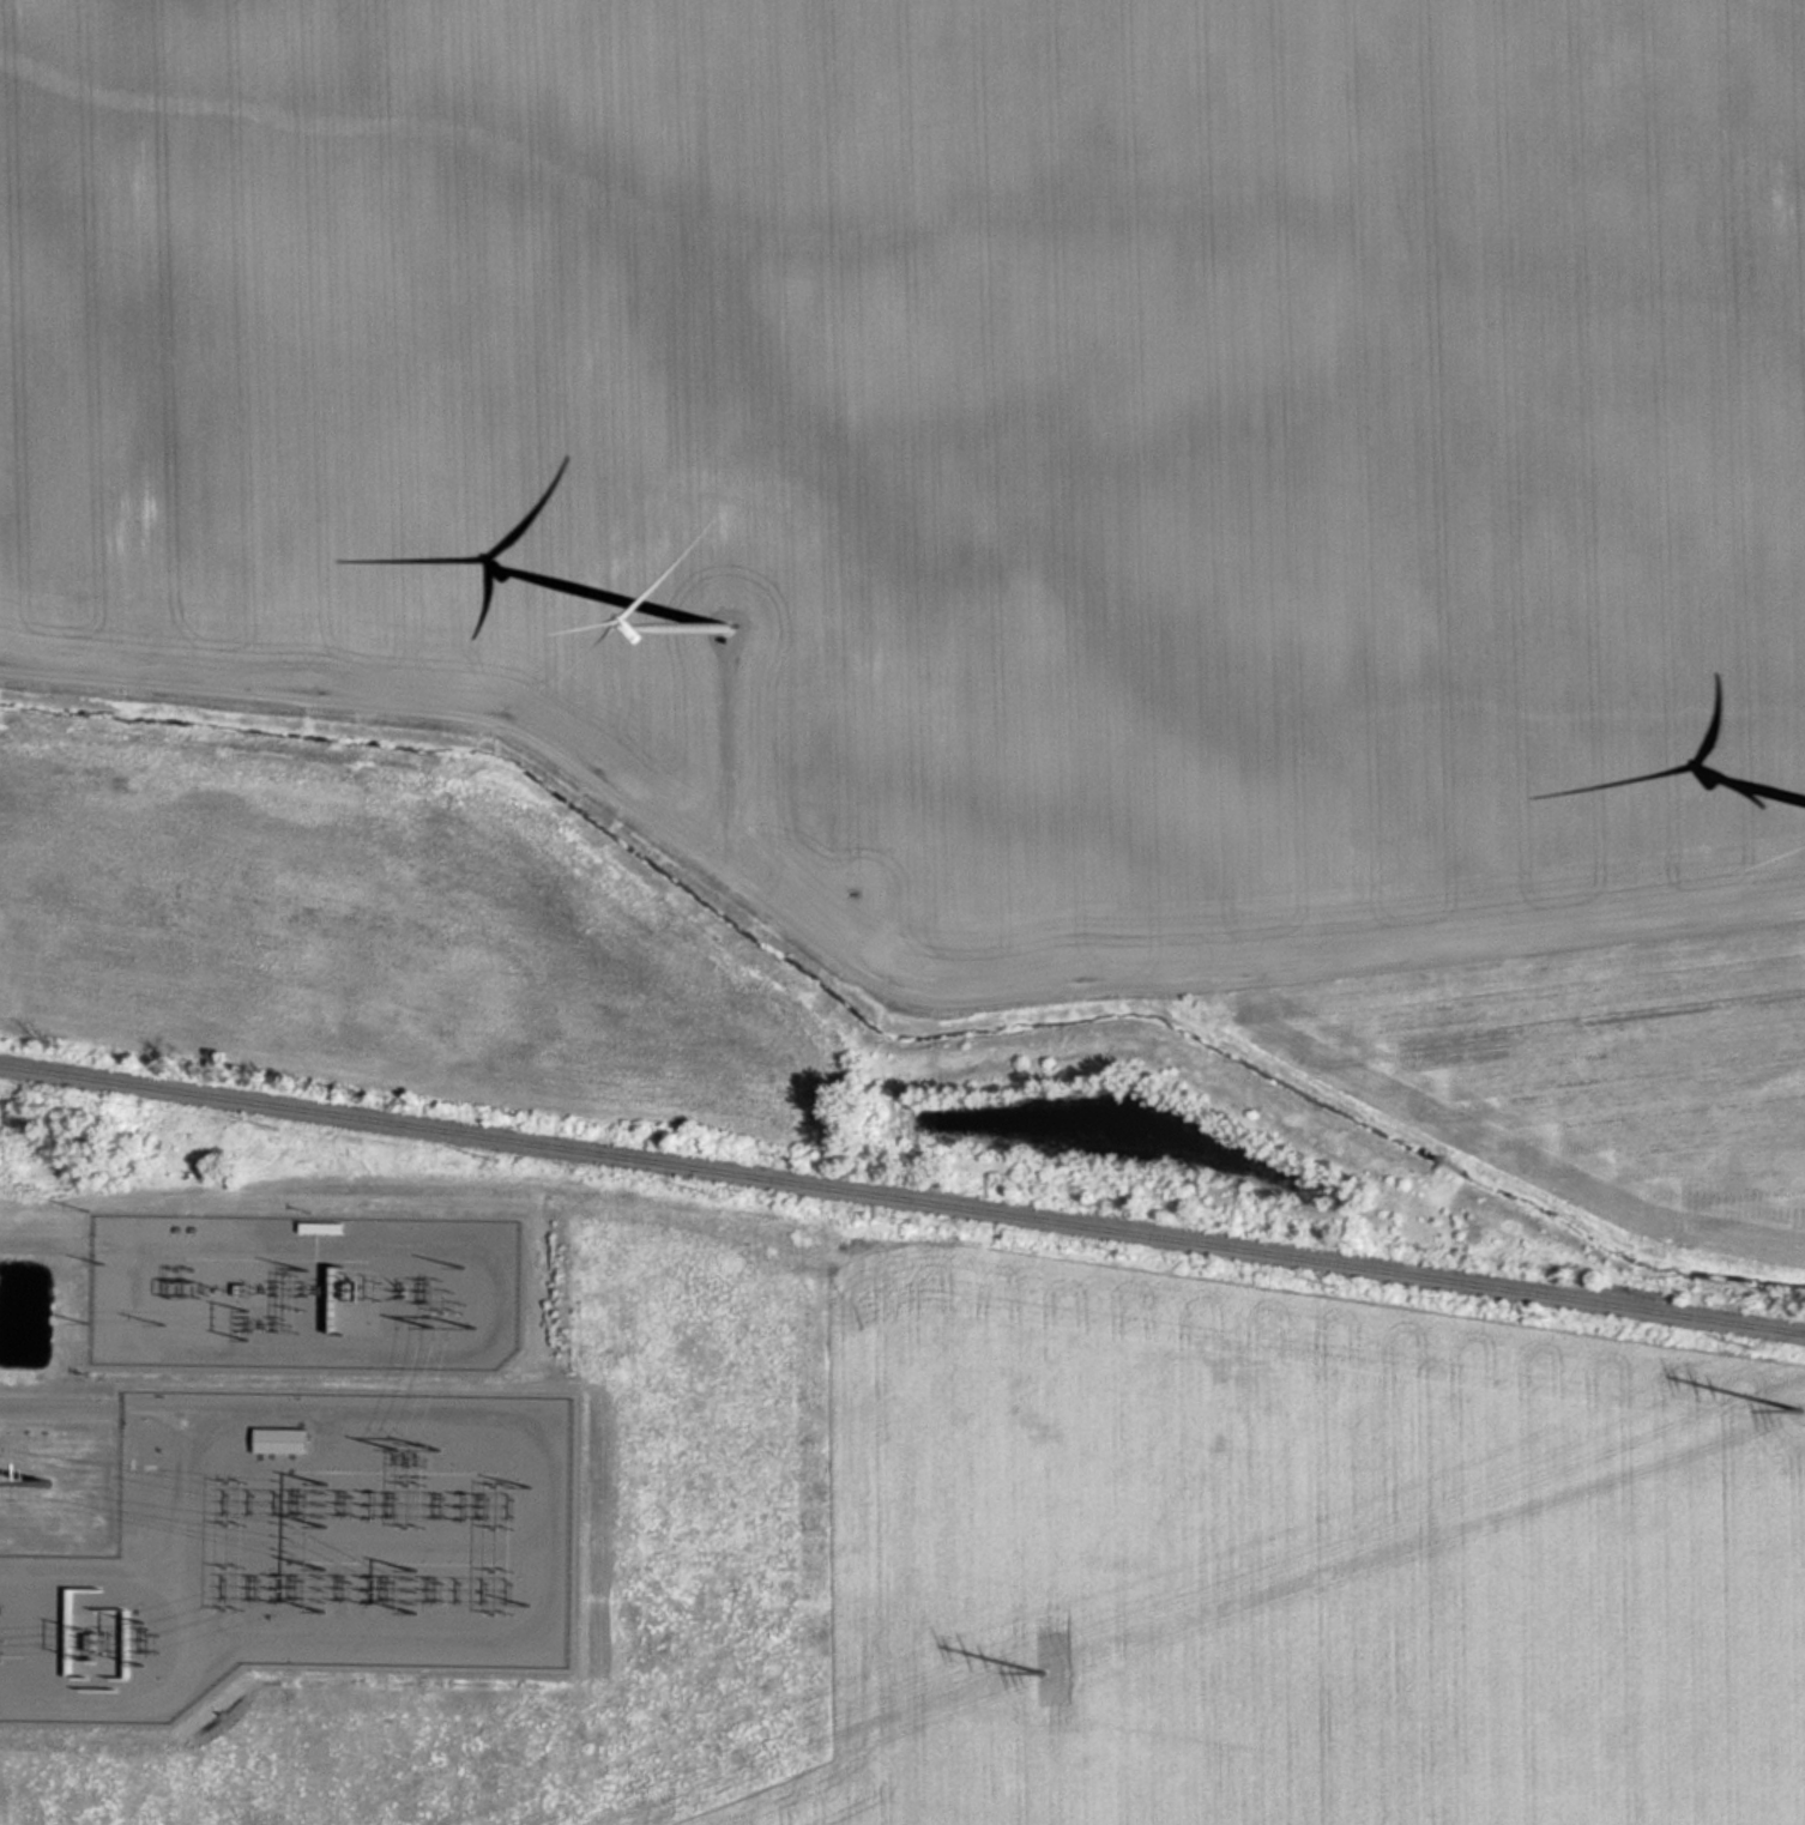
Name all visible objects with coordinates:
wind turbine: (723, 626)
railway: (902, 1199)
road: (50, 1243)
power substation: (312, 1289)
road: (66, 1408)
building: (290, 1438)
power tower: (42, 1483)
power substation: (306, 1548)
power tower: (1046, 1675)

